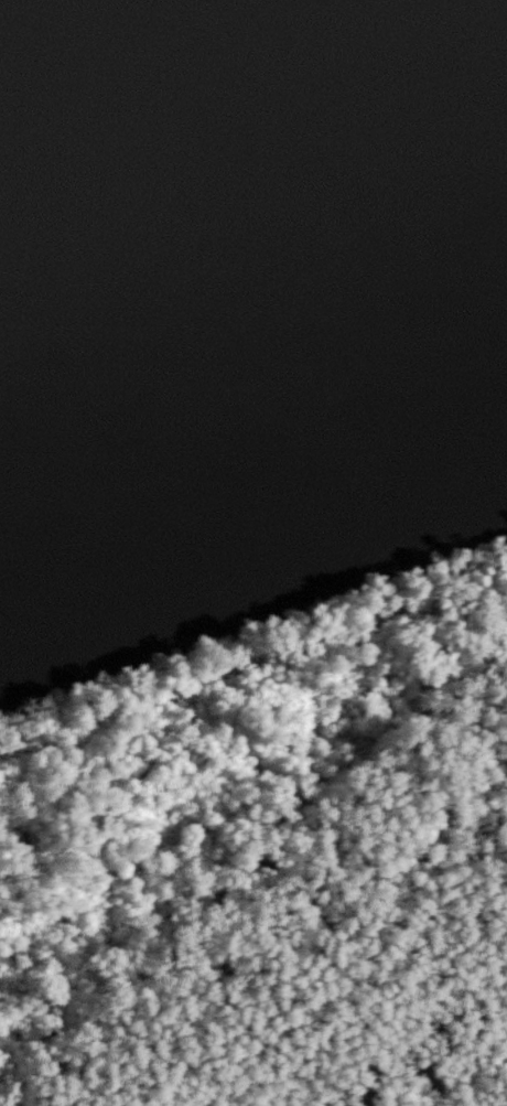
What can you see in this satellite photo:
river: (253, 114)

